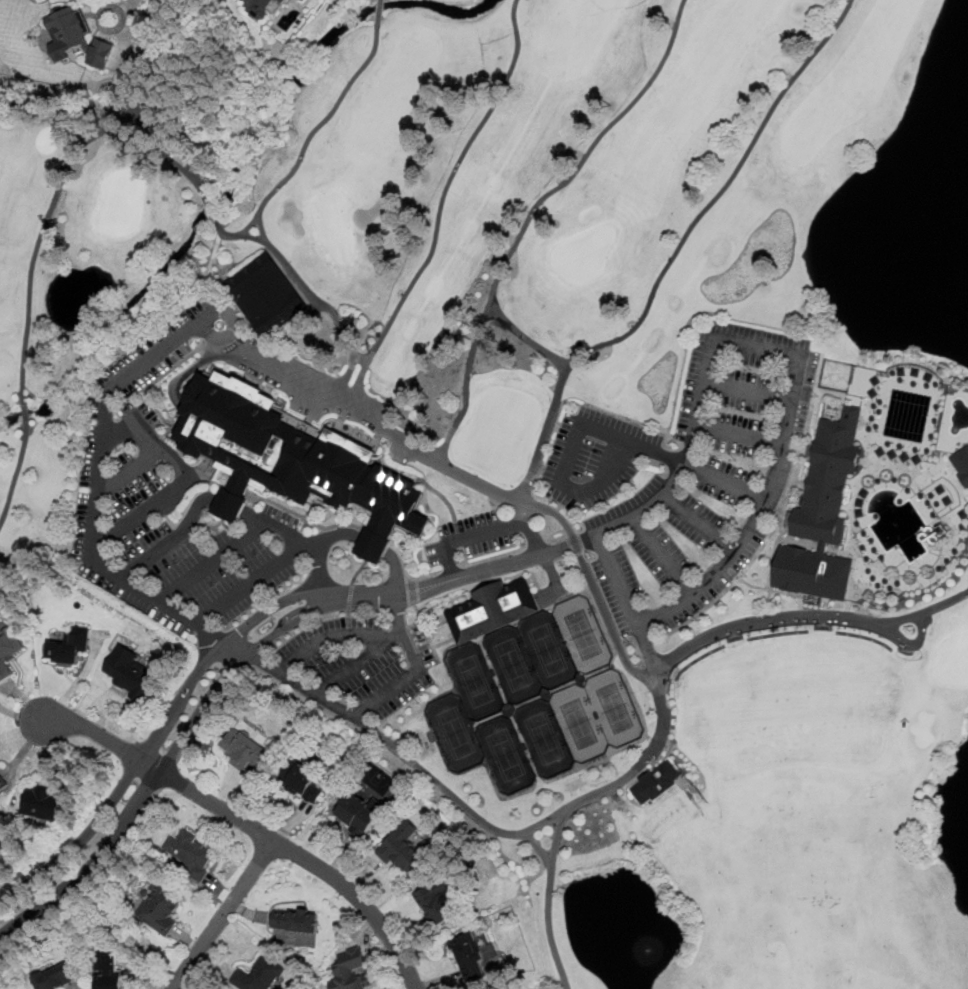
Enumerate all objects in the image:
building: (302, 1)
road: (120, 8)
building: (269, 9)
building: (81, 36)
road: (269, 197)
road: (441, 206)
road: (531, 214)
road: (676, 250)
building: (265, 294)
road: (197, 331)
road: (523, 335)
road: (750, 390)
road: (798, 391)
road: (597, 430)
road: (741, 436)
park: (554, 446)
building: (294, 460)
building: (961, 463)
road: (129, 471)
road: (182, 475)
building: (822, 513)
road: (189, 518)
road: (701, 523)
road: (285, 528)
road: (348, 536)
road: (476, 536)
road: (531, 536)
road: (312, 540)
road: (664, 556)
parking lot: (234, 565)
building: (492, 609)
road: (805, 614)
road: (606, 619)
road: (336, 635)
building: (69, 646)
building: (8, 649)
road: (238, 651)
park: (528, 656)
road: (355, 664)
building: (130, 672)
road: (366, 712)
road: (209, 713)
park: (560, 730)
park: (455, 732)
building: (243, 750)
road: (170, 777)
building: (300, 779)
building: (656, 781)
building: (2, 782)
building: (43, 802)
building: (359, 812)
road: (558, 812)
road: (253, 828)
building: (403, 847)
road: (539, 847)
building: (189, 854)
road: (92, 878)
road: (548, 901)
building: (435, 902)
building: (159, 907)
road: (222, 915)
building: (295, 920)
building: (470, 954)
building: (350, 970)
building: (107, 971)
building: (258, 975)
building: (56, 976)

